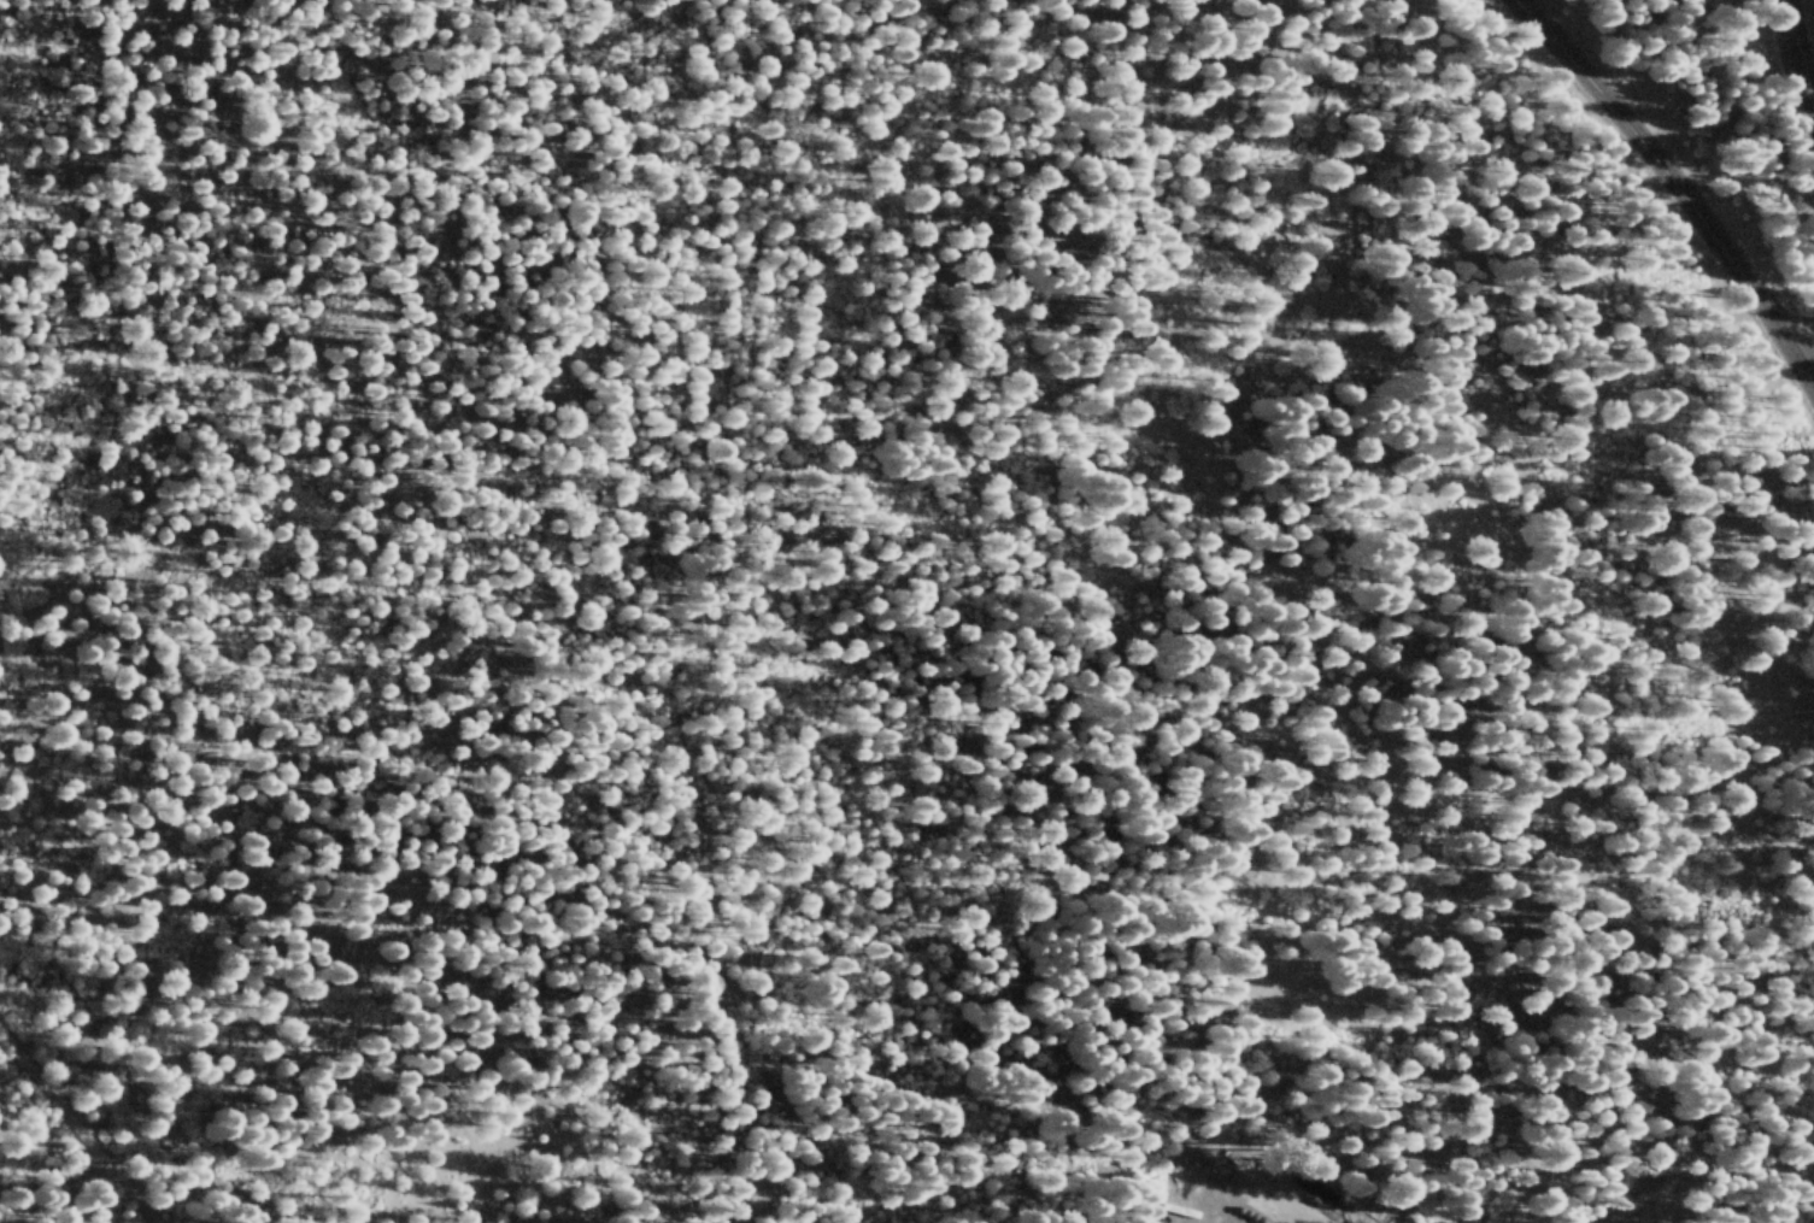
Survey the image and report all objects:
road: (1800, 53)
road: (1674, 184)
road: (1809, 365)

